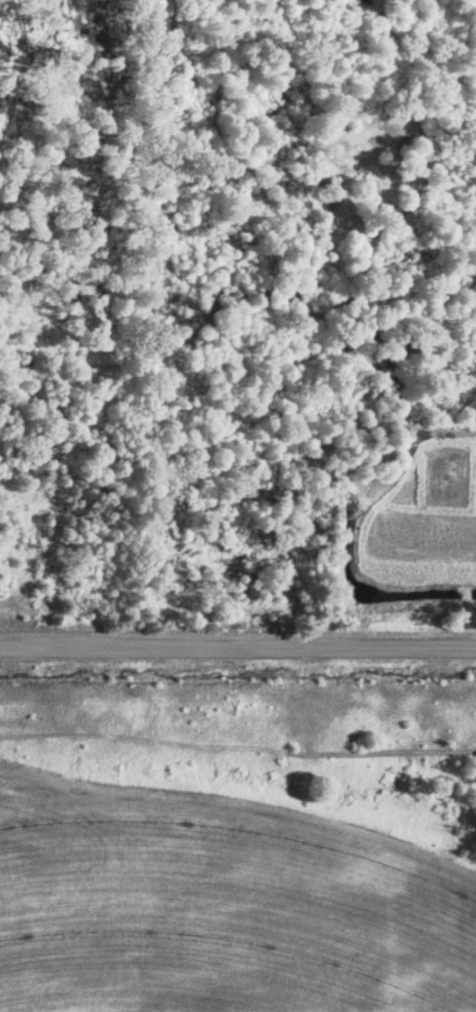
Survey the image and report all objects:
road: (238, 624)
wastewater plant: (238, 857)

